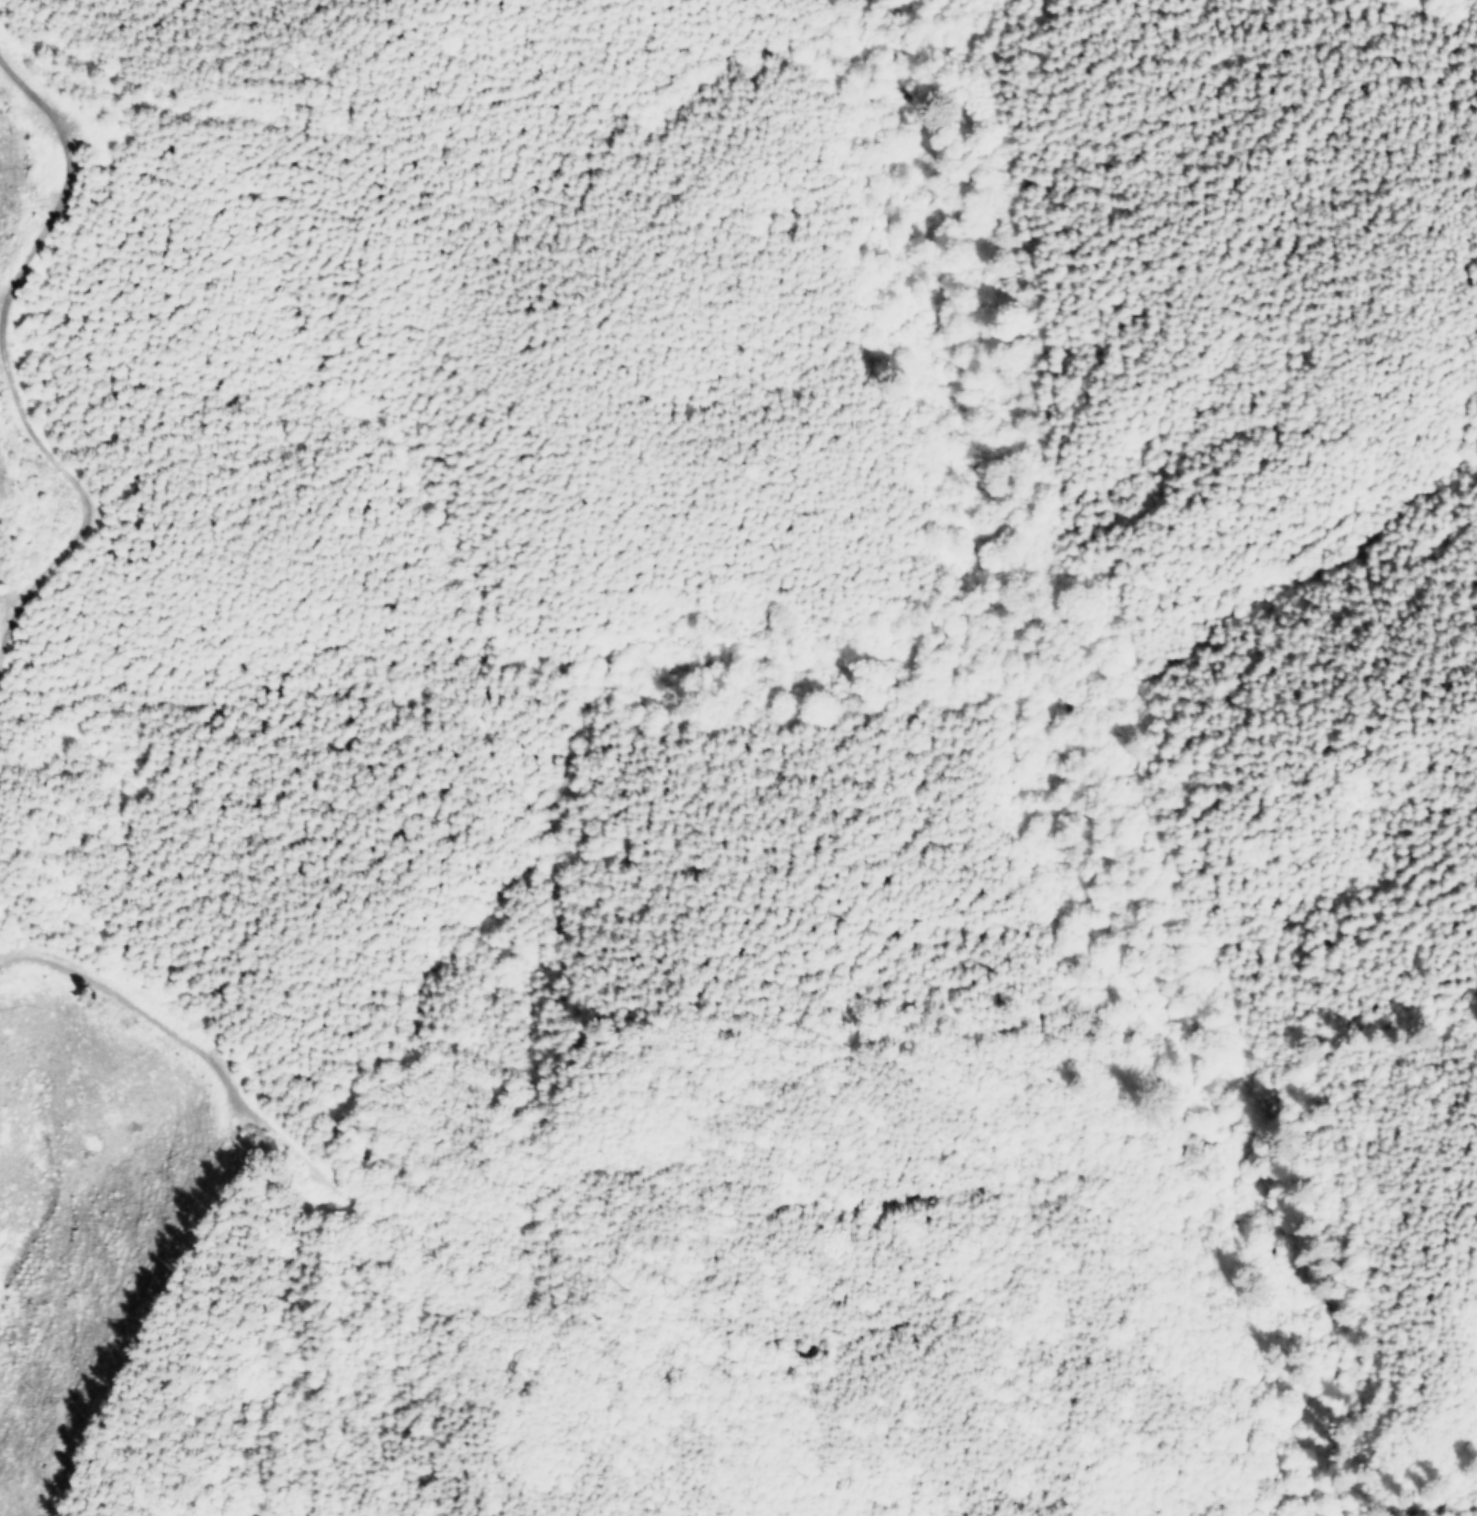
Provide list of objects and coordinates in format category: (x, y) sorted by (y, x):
road: (43, 119)
road: (20, 470)
road: (113, 950)

